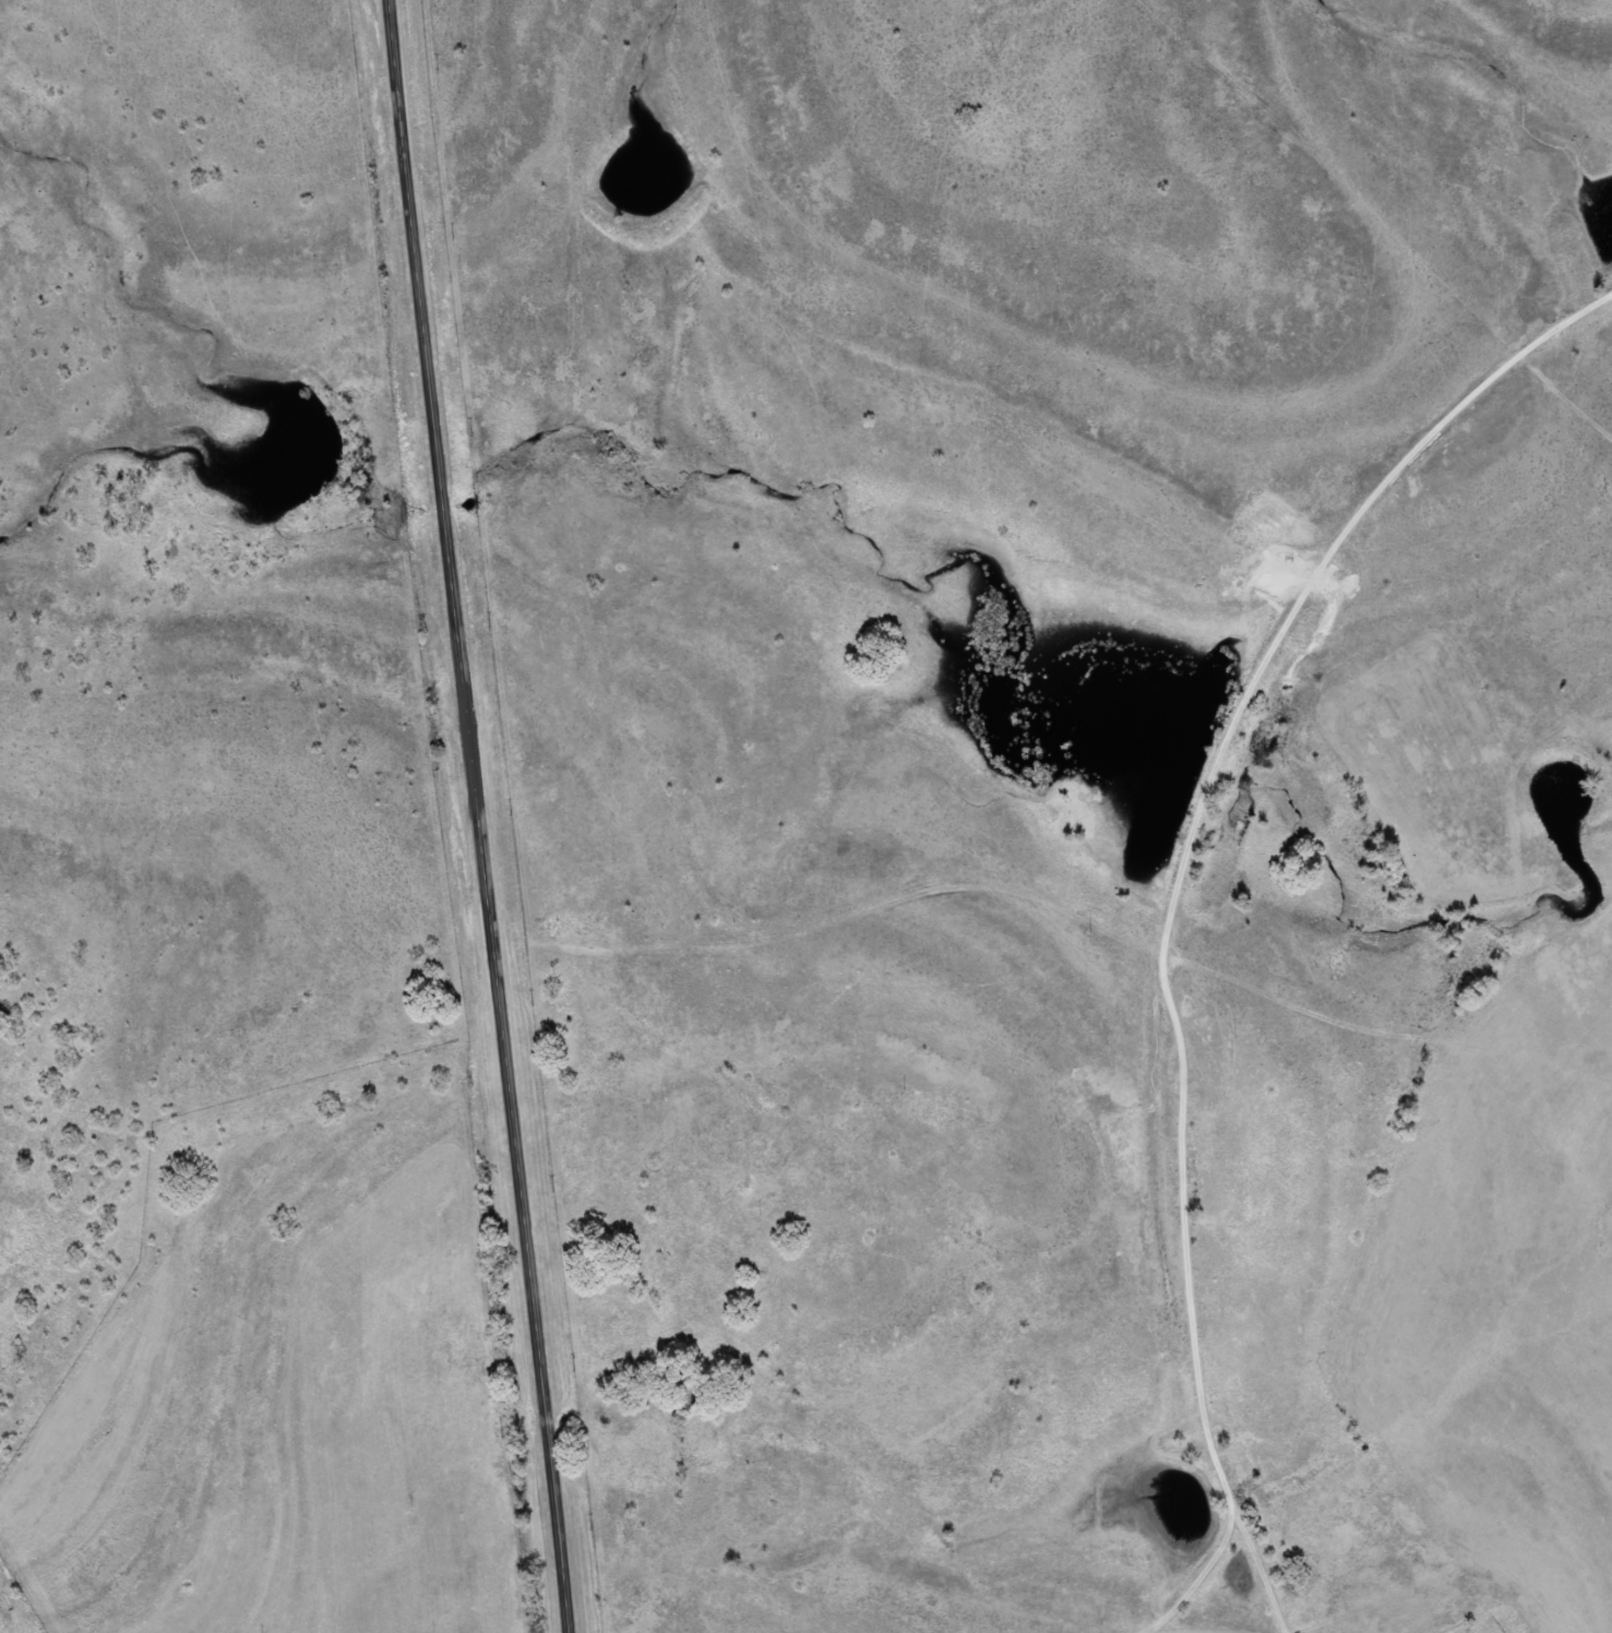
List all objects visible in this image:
road: (477, 816)
railway: (1156, 890)

